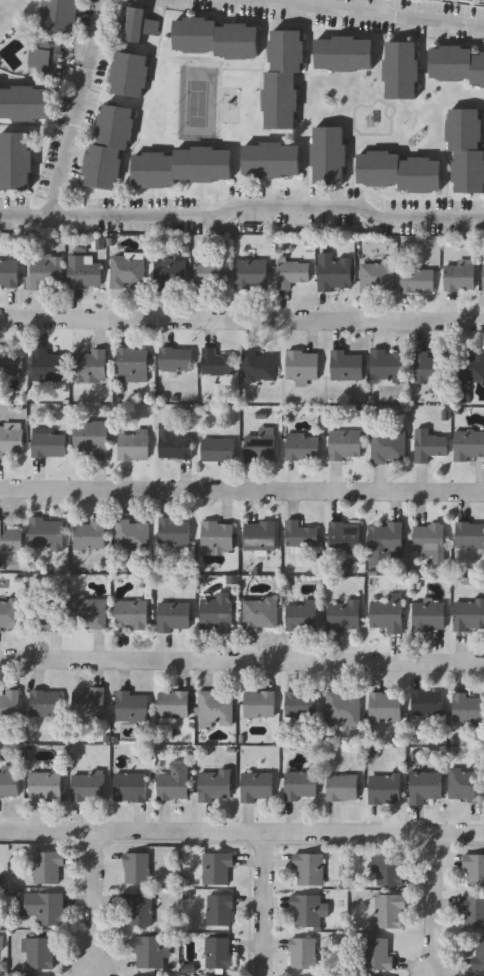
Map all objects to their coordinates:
road: (372, 13)
building: (61, 15)
building: (141, 24)
building: (218, 37)
building: (346, 52)
building: (46, 58)
building: (457, 62)
building: (402, 69)
building: (131, 74)
building: (284, 76)
building: (26, 101)
road: (75, 108)
building: (111, 146)
building: (467, 148)
building: (330, 154)
building: (273, 159)
building: (17, 160)
building: (183, 166)
building: (400, 170)
road: (242, 217)
building: (86, 270)
building: (128, 271)
building: (9, 272)
building: (48, 272)
building: (335, 272)
building: (252, 273)
building: (294, 273)
building: (172, 274)
building: (211, 275)
building: (378, 275)
building: (461, 275)
building: (418, 279)
road: (242, 321)
building: (177, 358)
building: (218, 362)
building: (10, 363)
building: (90, 364)
building: (133, 364)
building: (48, 365)
building: (260, 365)
building: (303, 365)
building: (389, 365)
building: (348, 366)
building: (469, 368)
building: (432, 370)
building: (92, 437)
building: (12, 441)
building: (174, 442)
building: (468, 443)
building: (49, 444)
building: (135, 445)
building: (346, 445)
building: (429, 445)
building: (305, 446)
building: (389, 446)
building: (261, 447)
building: (219, 449)
road: (242, 492)
building: (176, 531)
building: (47, 533)
building: (90, 534)
building: (133, 534)
building: (301, 534)
building: (345, 534)
building: (470, 534)
building: (219, 535)
building: (261, 535)
building: (10, 538)
building: (430, 539)
building: (385, 542)
building: (90, 612)
building: (345, 612)
building: (218, 613)
building: (261, 613)
building: (132, 614)
building: (469, 614)
building: (11, 615)
building: (47, 615)
building: (175, 615)
building: (388, 615)
building: (430, 615)
building: (303, 616)
road: (242, 661)
building: (89, 702)
building: (428, 702)
building: (260, 703)
building: (302, 703)
building: (47, 704)
building: (174, 704)
building: (10, 705)
building: (133, 705)
building: (386, 706)
building: (216, 707)
building: (344, 707)
building: (468, 707)
building: (9, 781)
building: (174, 781)
building: (467, 784)
building: (46, 785)
building: (216, 785)
building: (302, 785)
building: (89, 786)
building: (131, 786)
building: (258, 786)
building: (426, 786)
building: (343, 787)
building: (386, 788)
road: (242, 834)
building: (49, 866)
building: (138, 868)
building: (219, 868)
building: (309, 869)
building: (474, 869)
building: (389, 870)
road: (91, 904)
road: (434, 904)
road: (262, 905)
building: (44, 906)
building: (138, 909)
building: (220, 909)
building: (309, 909)
building: (390, 911)
building: (472, 911)
building: (1, 941)
building: (150, 951)
building: (219, 951)
building: (38, 952)
building: (304, 952)
building: (378, 953)
building: (479, 954)
building: (38, 975)

